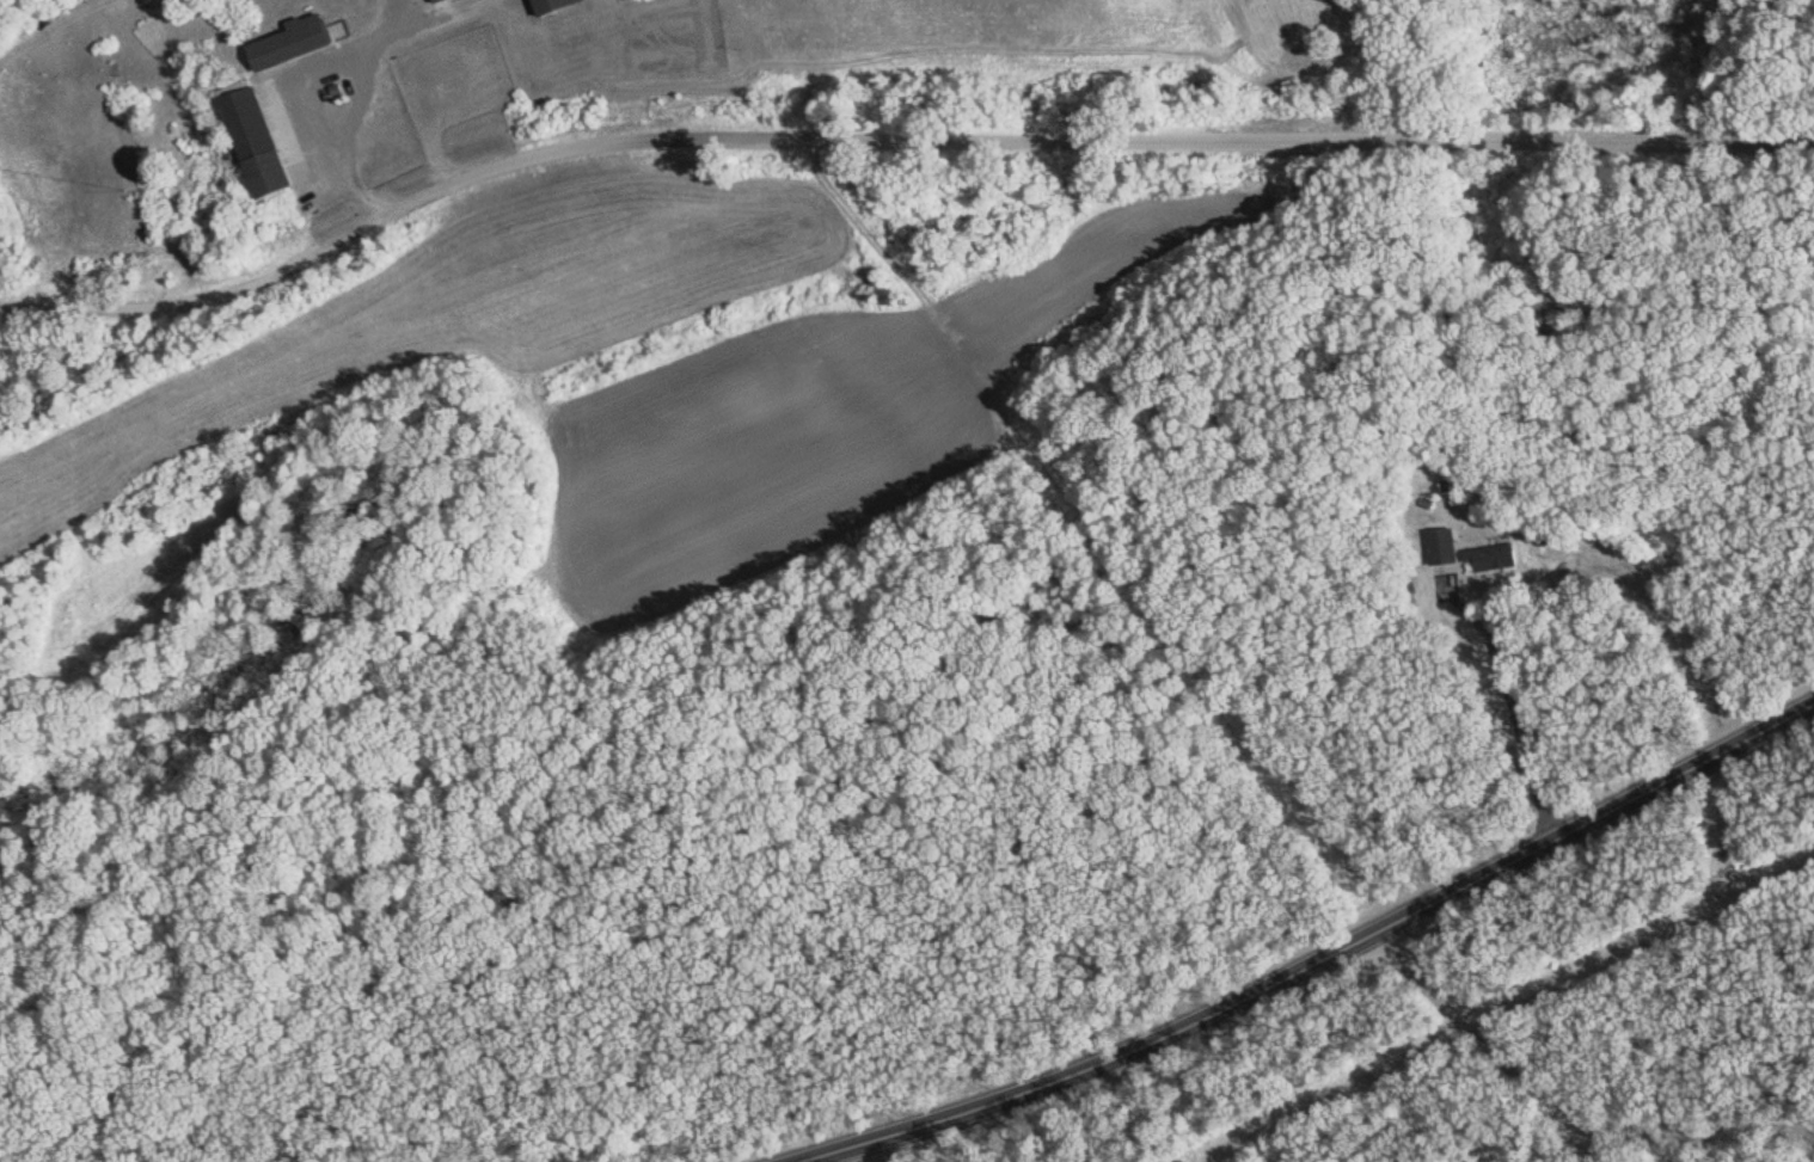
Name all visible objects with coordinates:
building: (441, 0)
building: (557, 5)
road: (388, 18)
road: (435, 19)
road: (86, 42)
building: (295, 43)
road: (355, 129)
road: (888, 134)
building: (259, 142)
building: (1445, 545)
building: (1494, 557)
road: (1518, 714)
road: (1319, 964)
road: (1497, 1045)
road: (1687, 1126)

